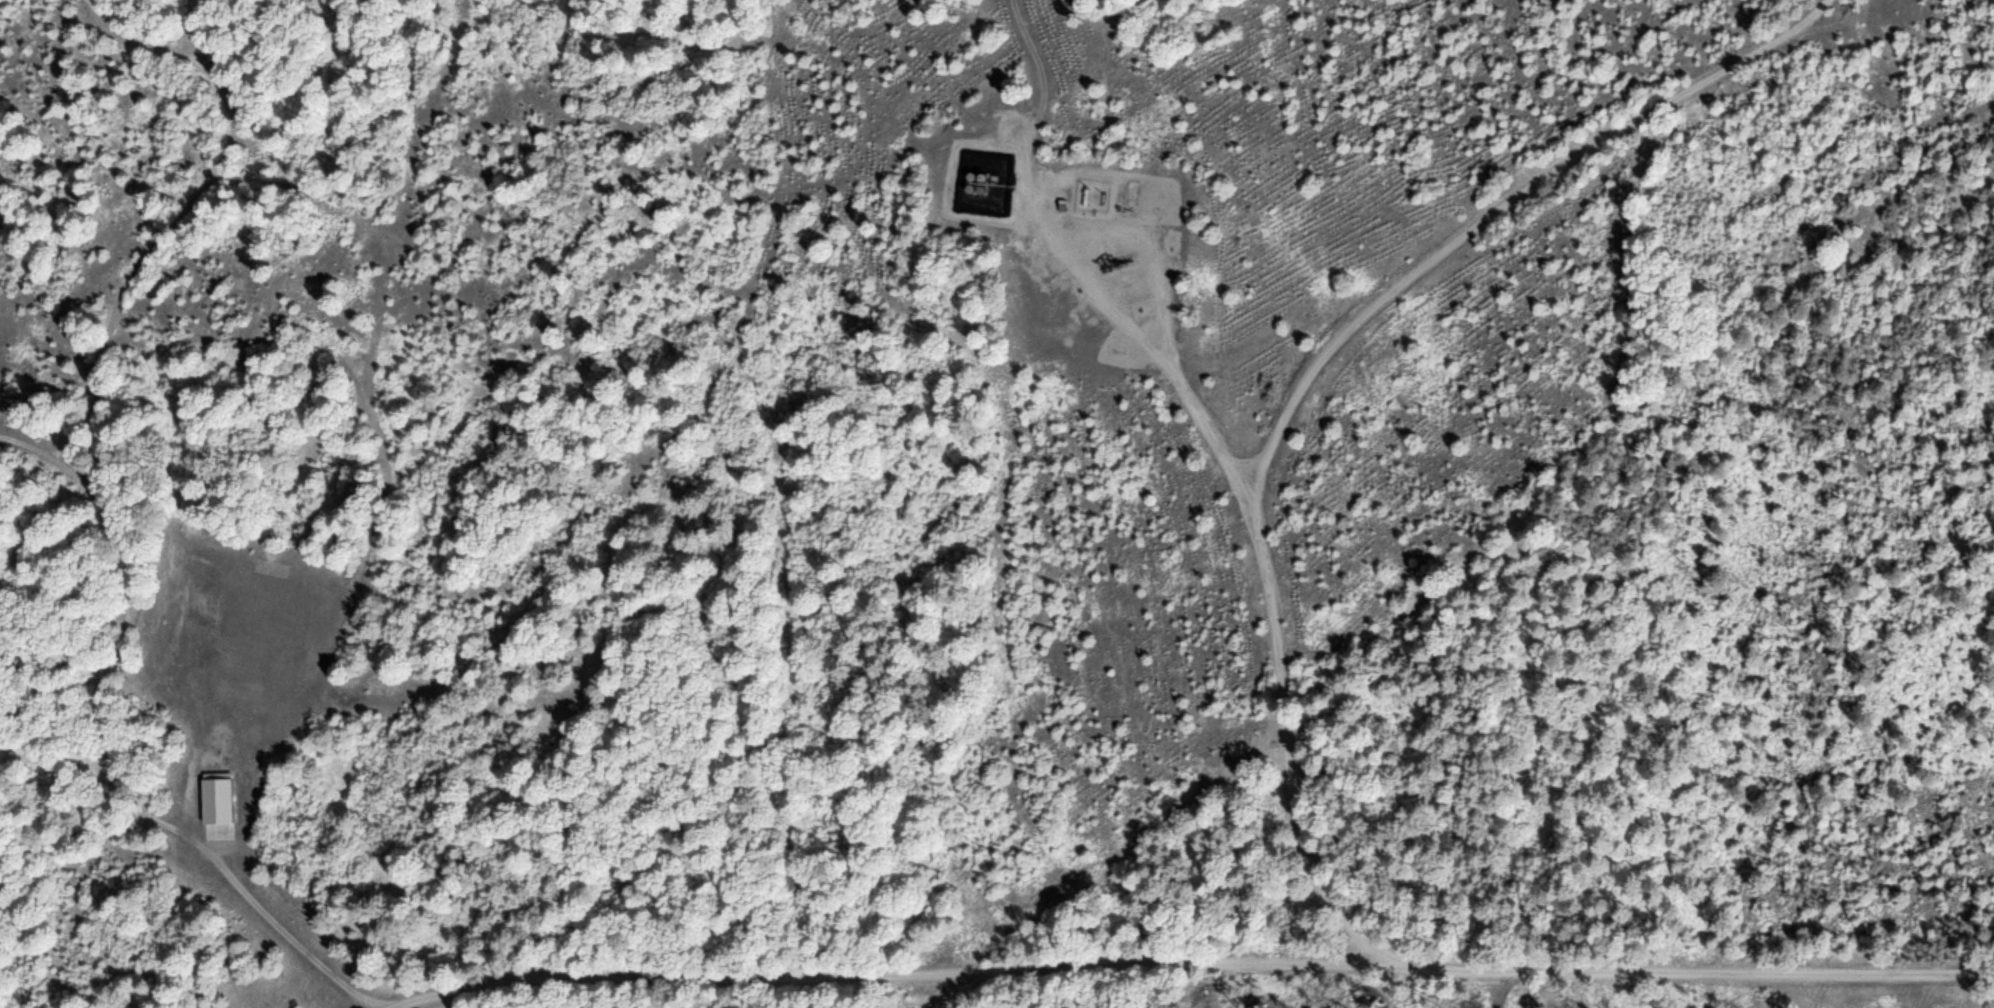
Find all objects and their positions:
building: (1129, 197)
road: (1147, 239)
petroleum well: (1115, 258)
road: (1131, 310)
road: (1307, 364)
road: (61, 459)
road: (114, 511)
building: (215, 788)
road: (216, 832)
road: (1278, 959)
road: (472, 982)
road: (1812, 985)

